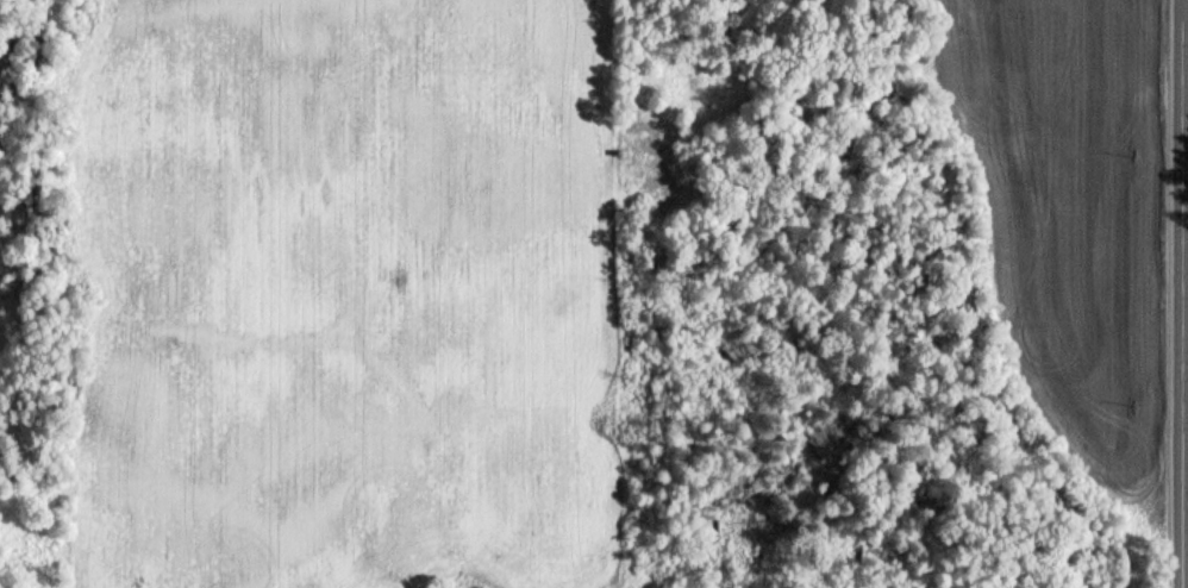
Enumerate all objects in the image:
road: (1183, 294)

